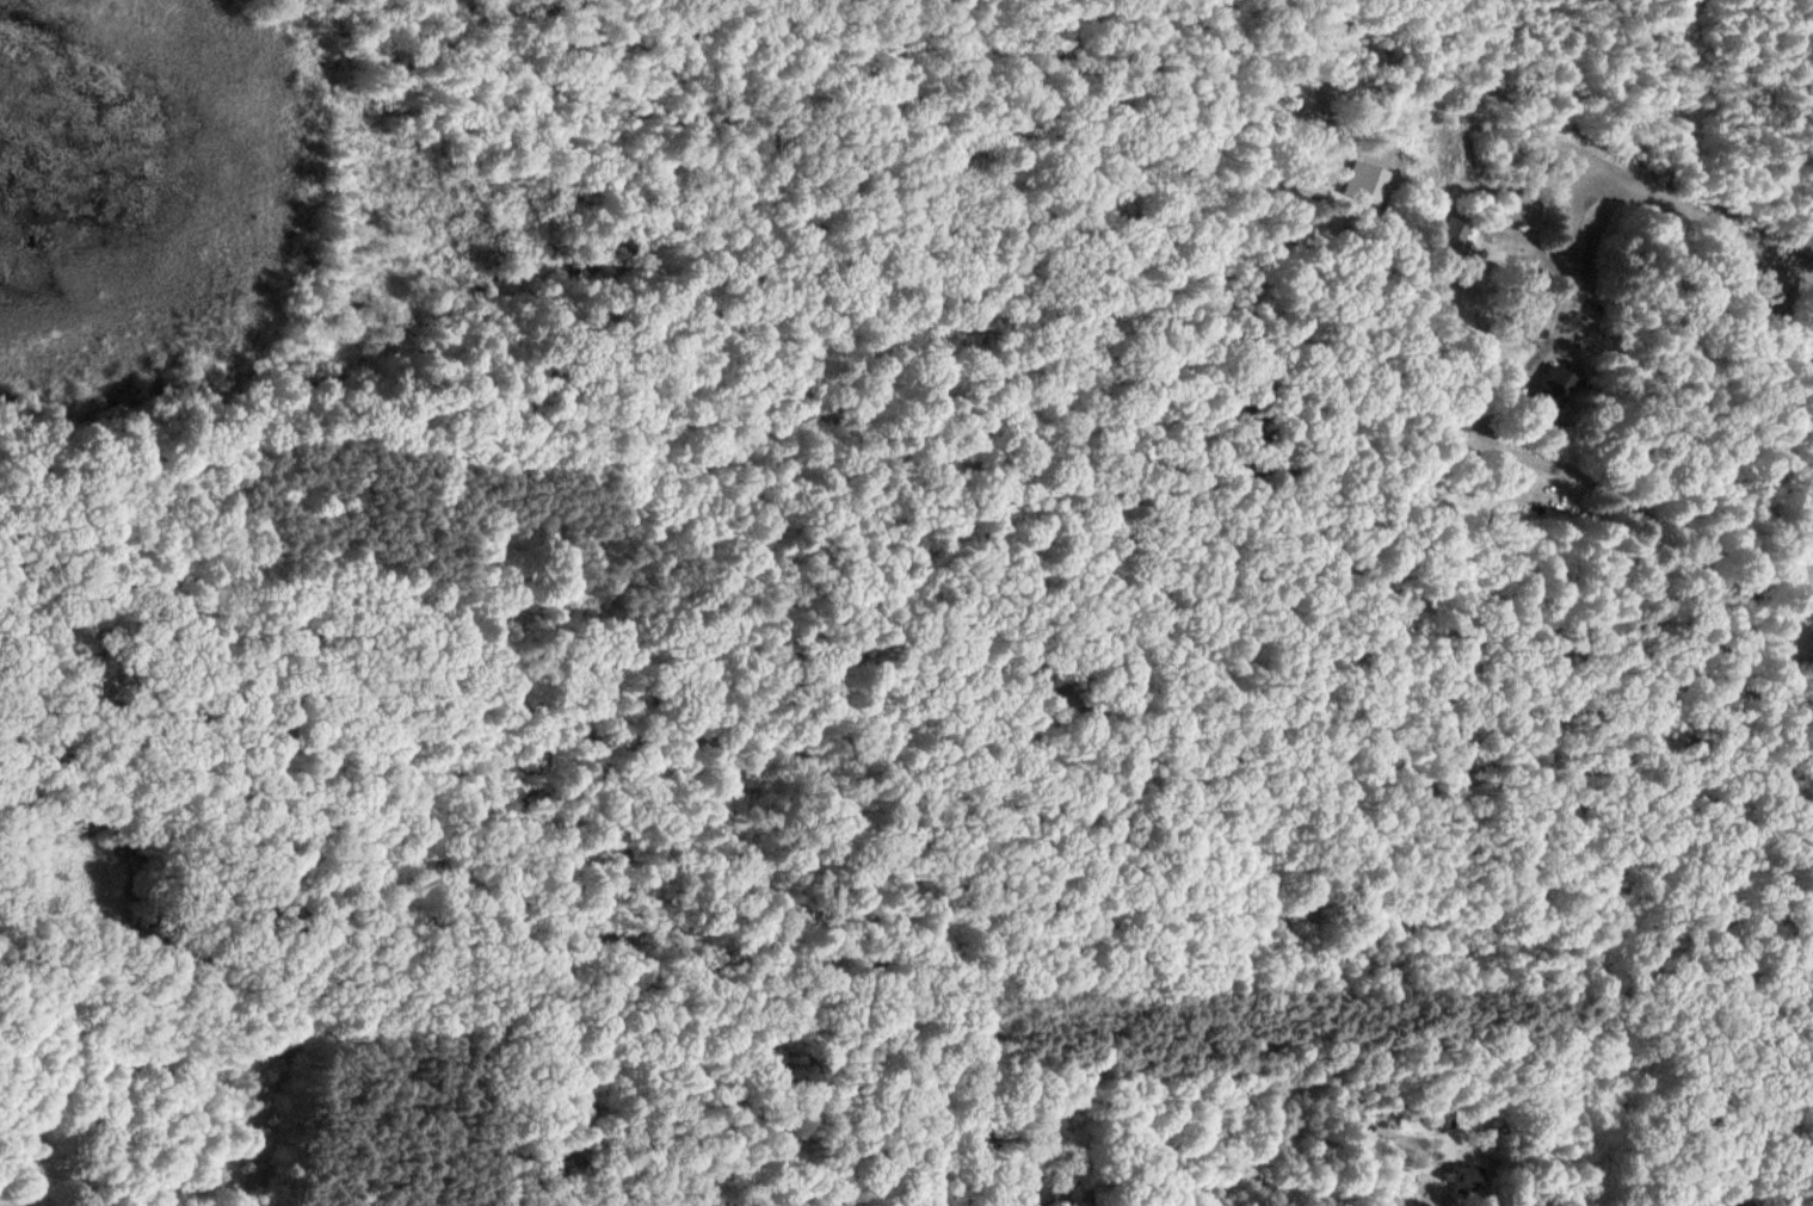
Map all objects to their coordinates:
road: (1599, 160)
building: (1523, 321)

